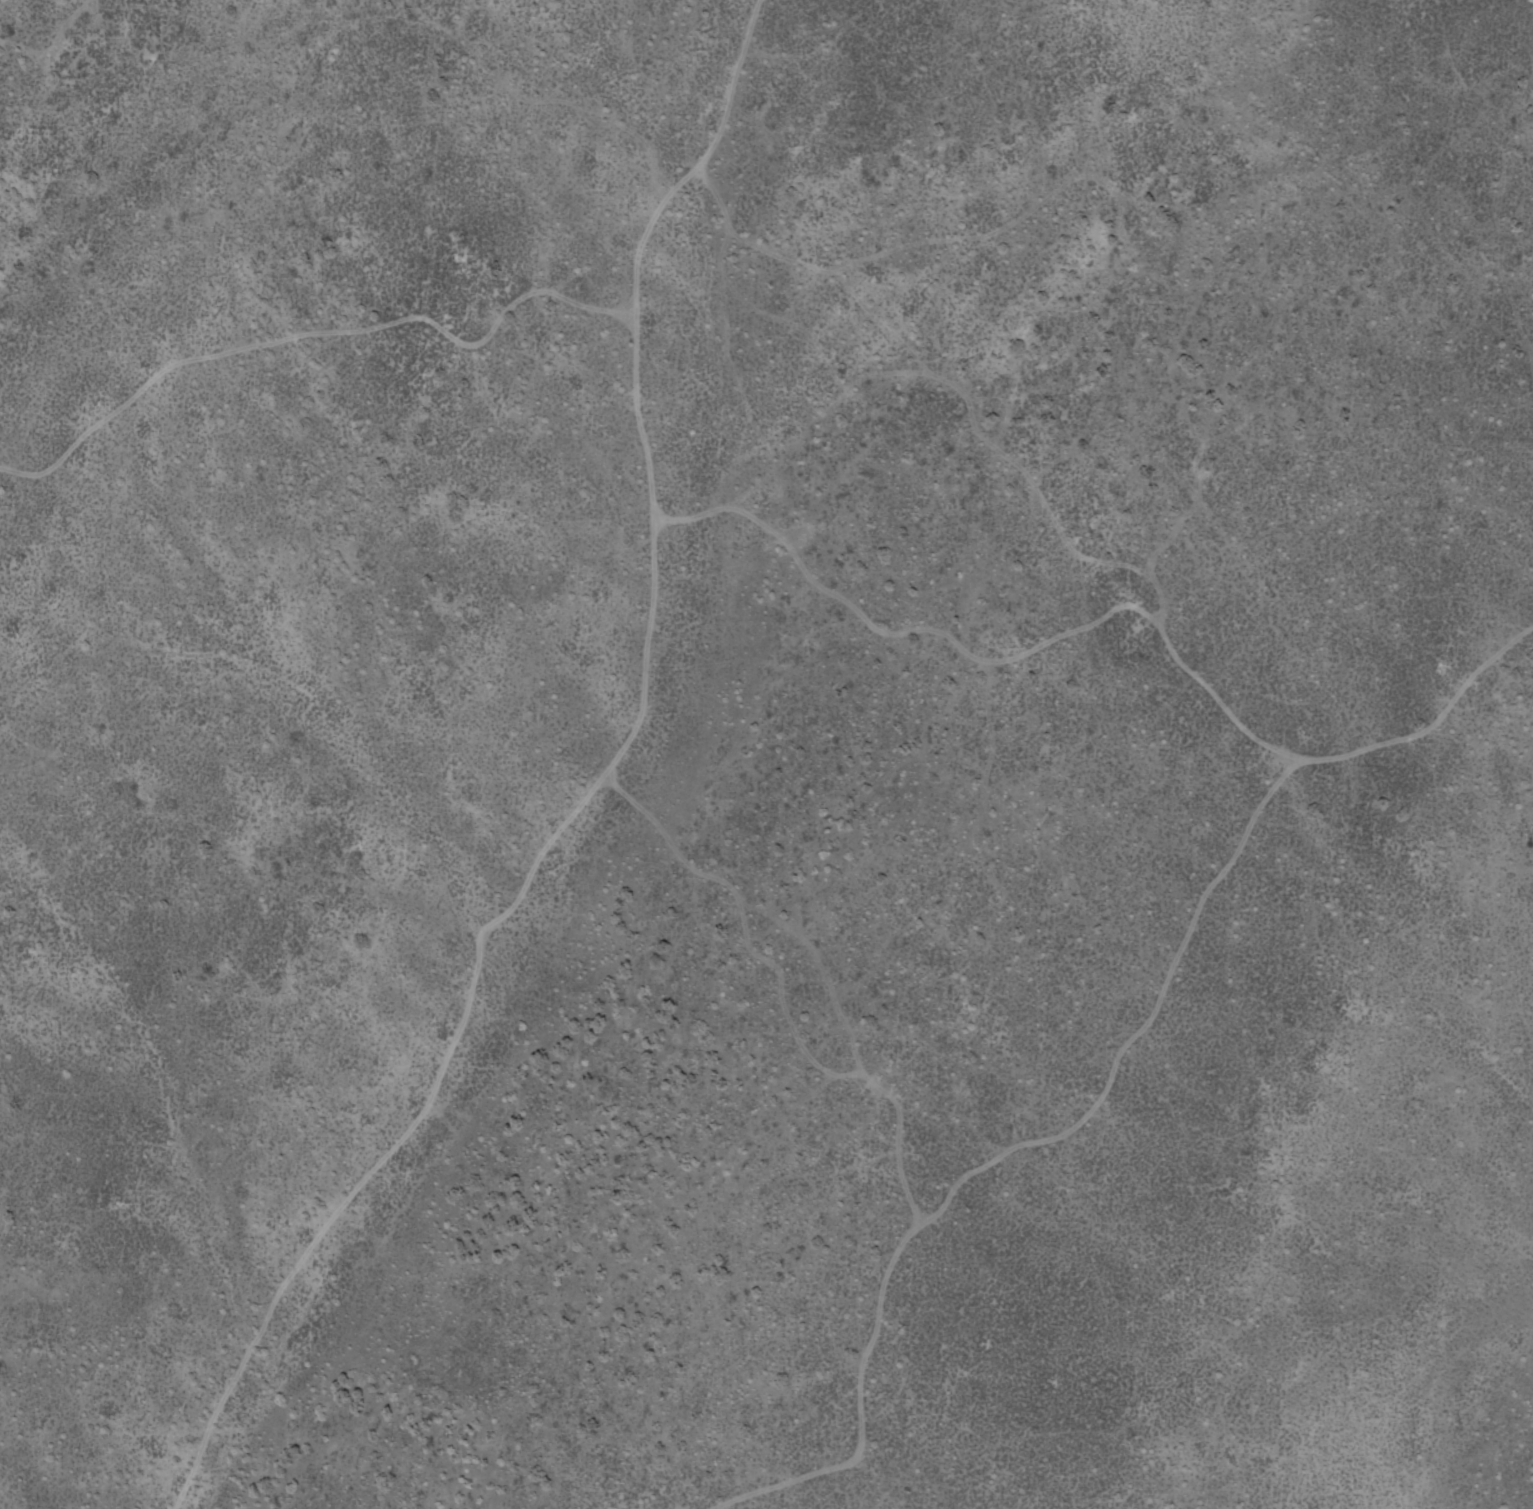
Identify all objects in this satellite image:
road: (886, 572)
road: (463, 1015)

